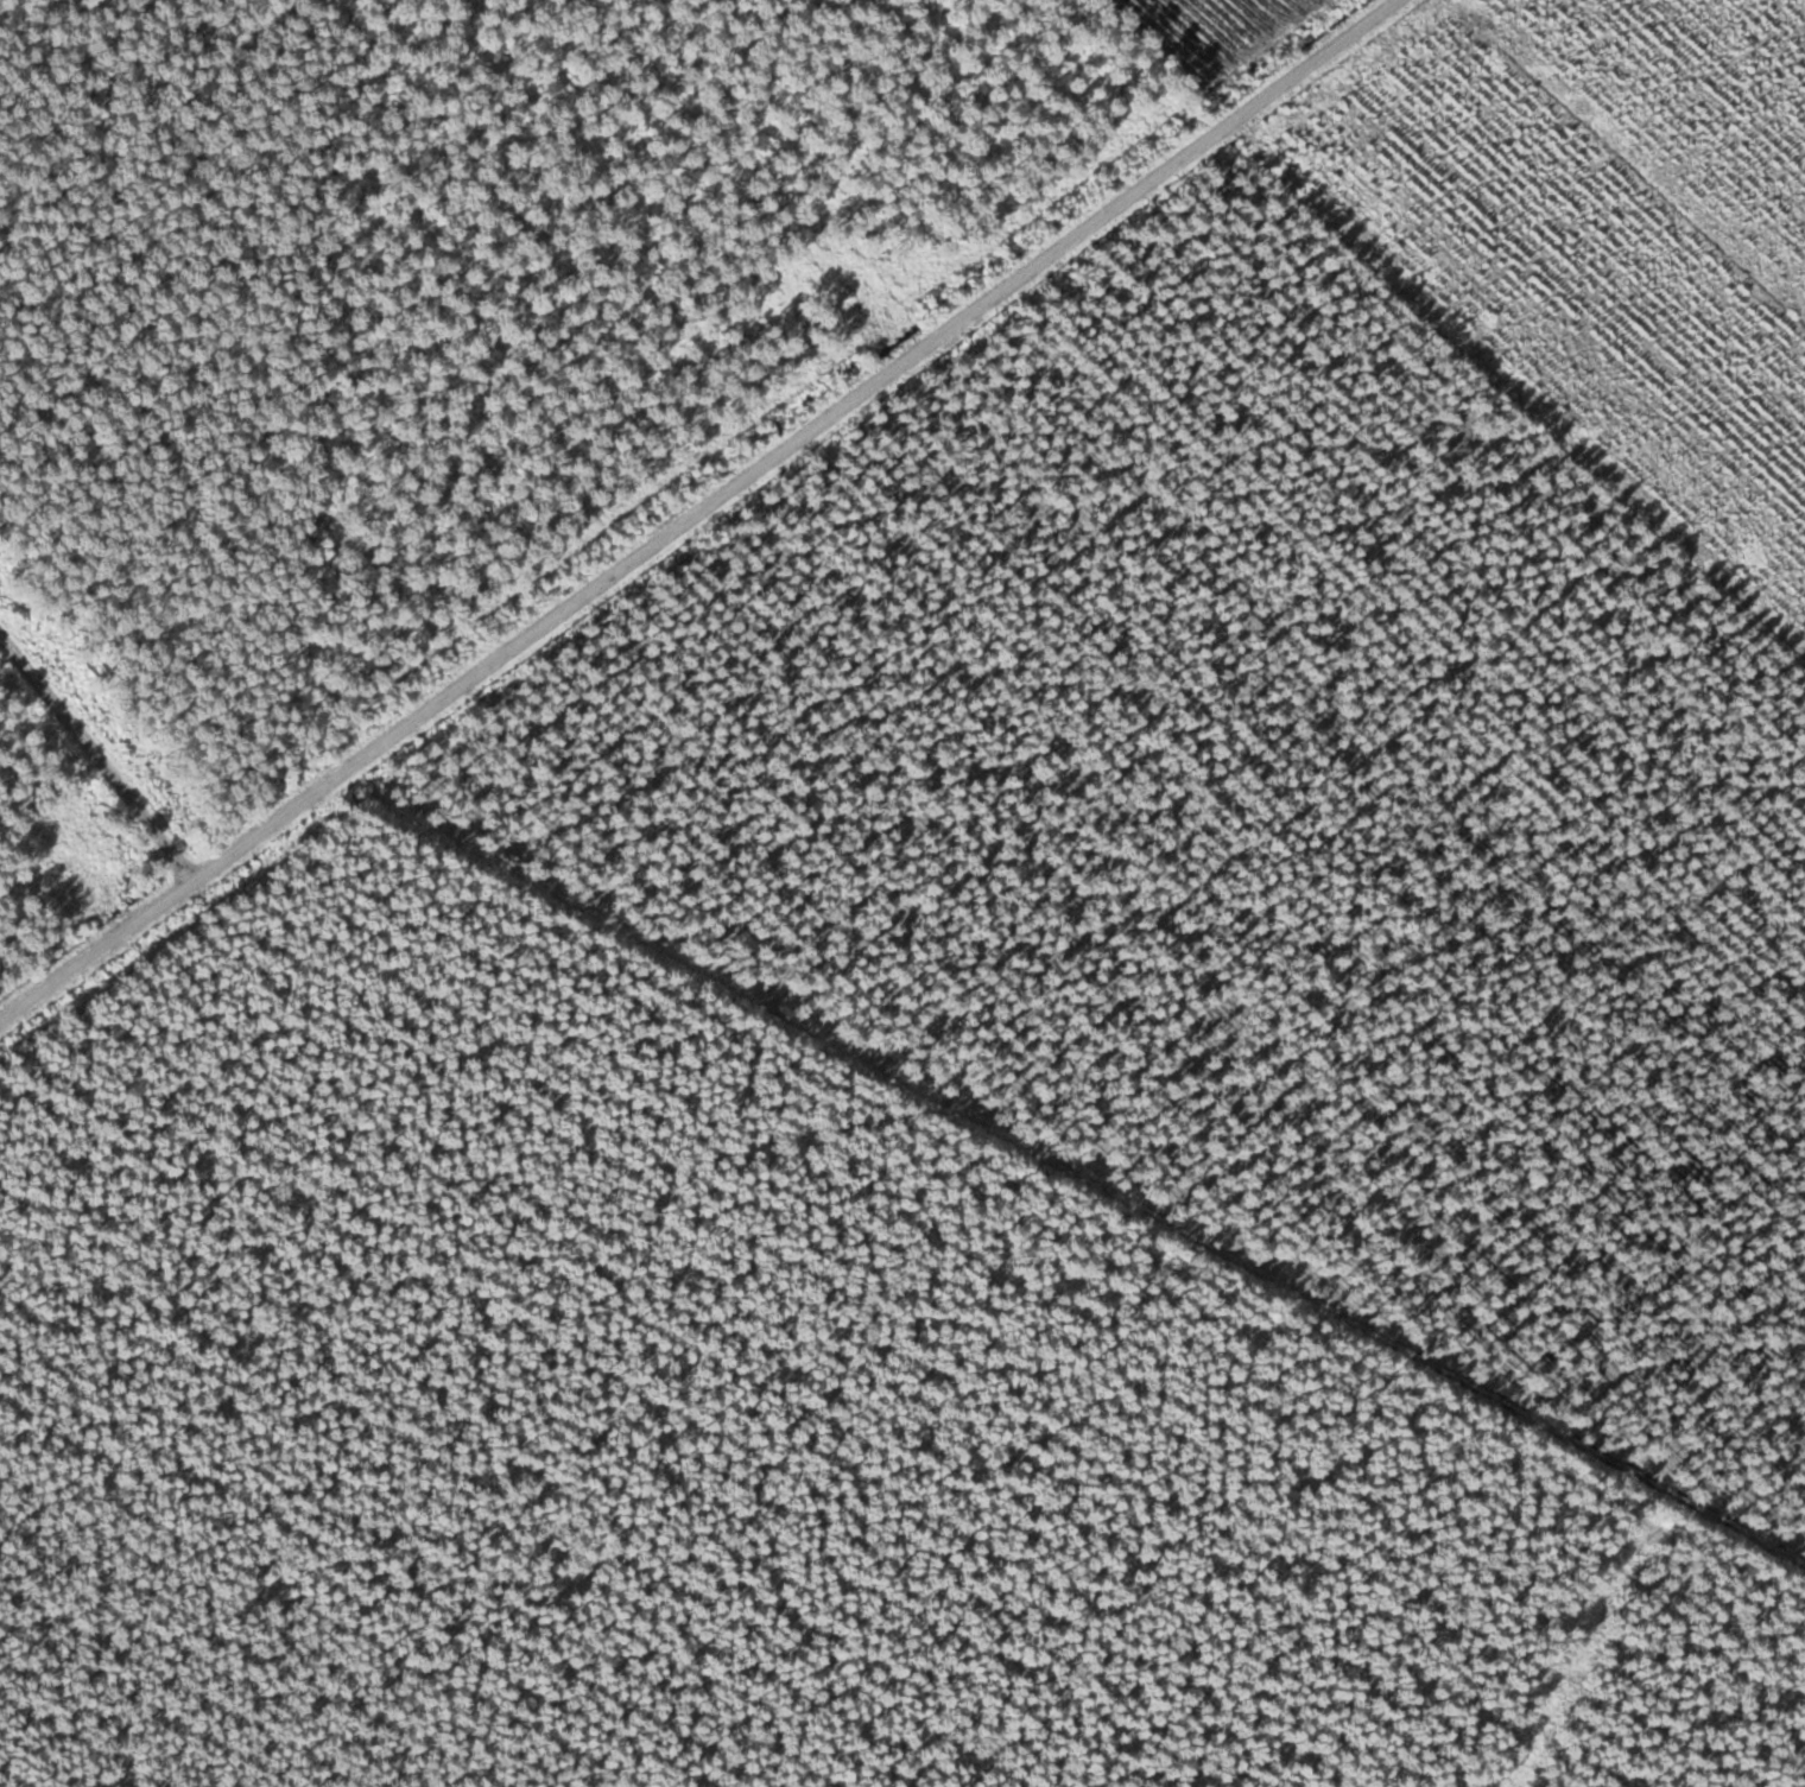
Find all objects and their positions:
road: (702, 512)

